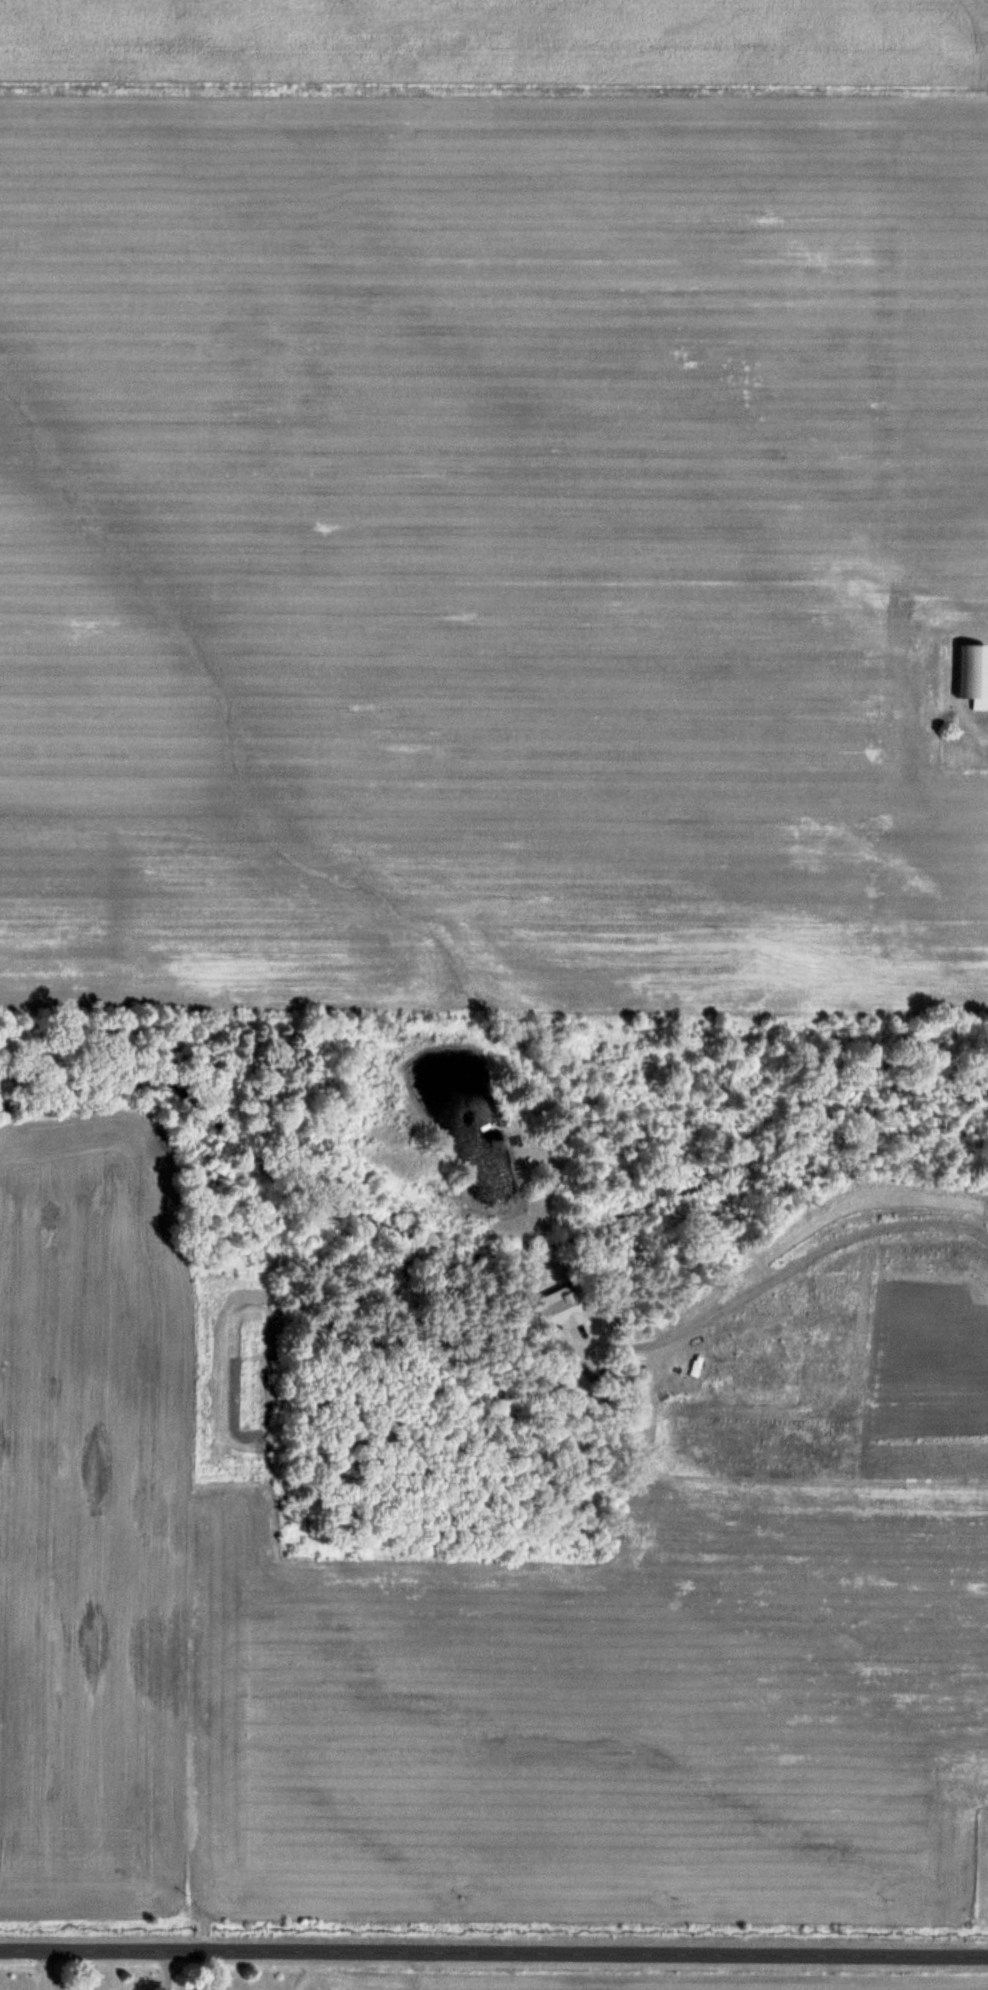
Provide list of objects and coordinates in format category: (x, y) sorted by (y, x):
building: (974, 674)
road: (782, 1266)
building: (559, 1309)
road: (494, 1952)

